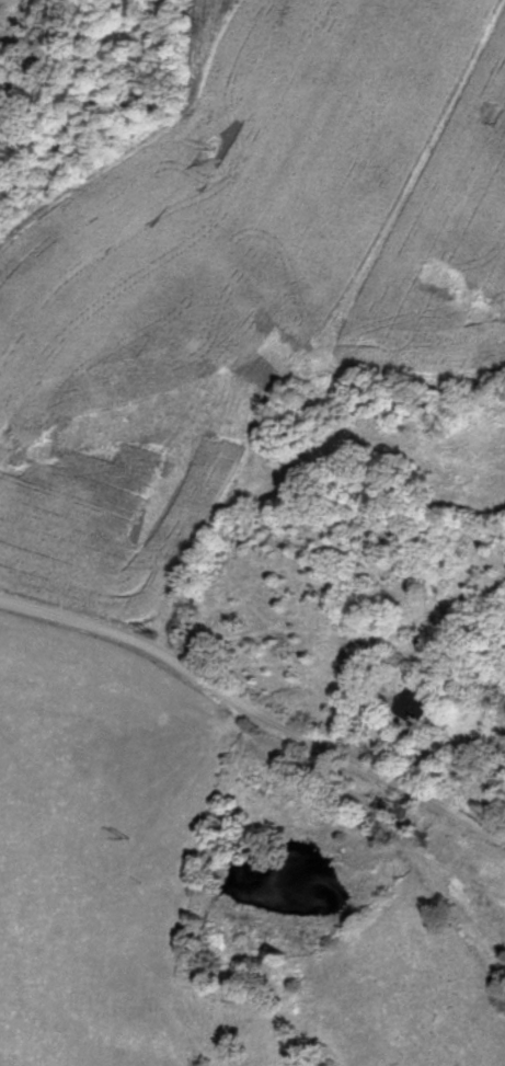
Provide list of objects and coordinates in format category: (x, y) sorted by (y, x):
building: (415, 704)
road: (254, 706)

